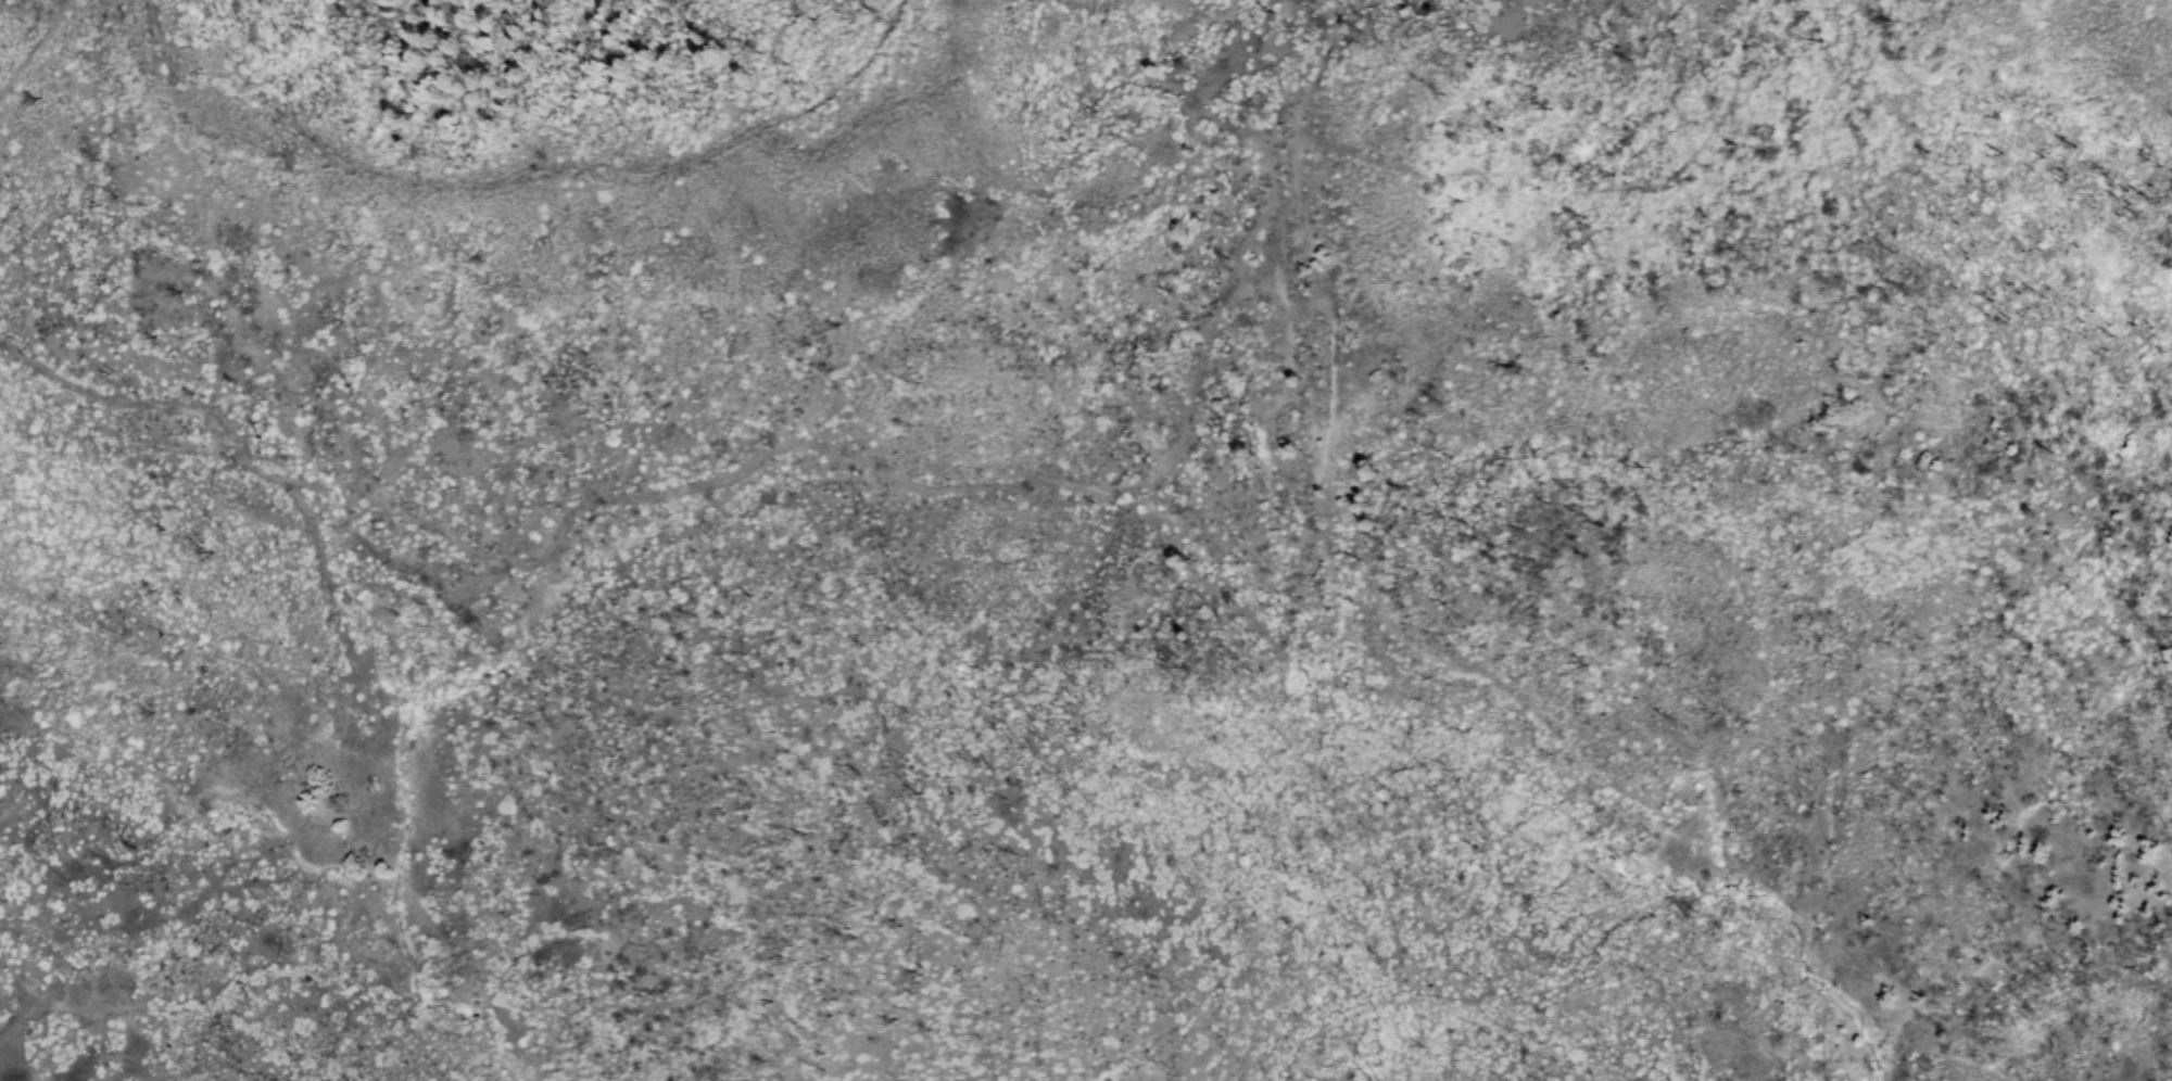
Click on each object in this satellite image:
road: (38, 52)
road: (525, 178)
road: (1335, 314)
road: (1010, 489)

